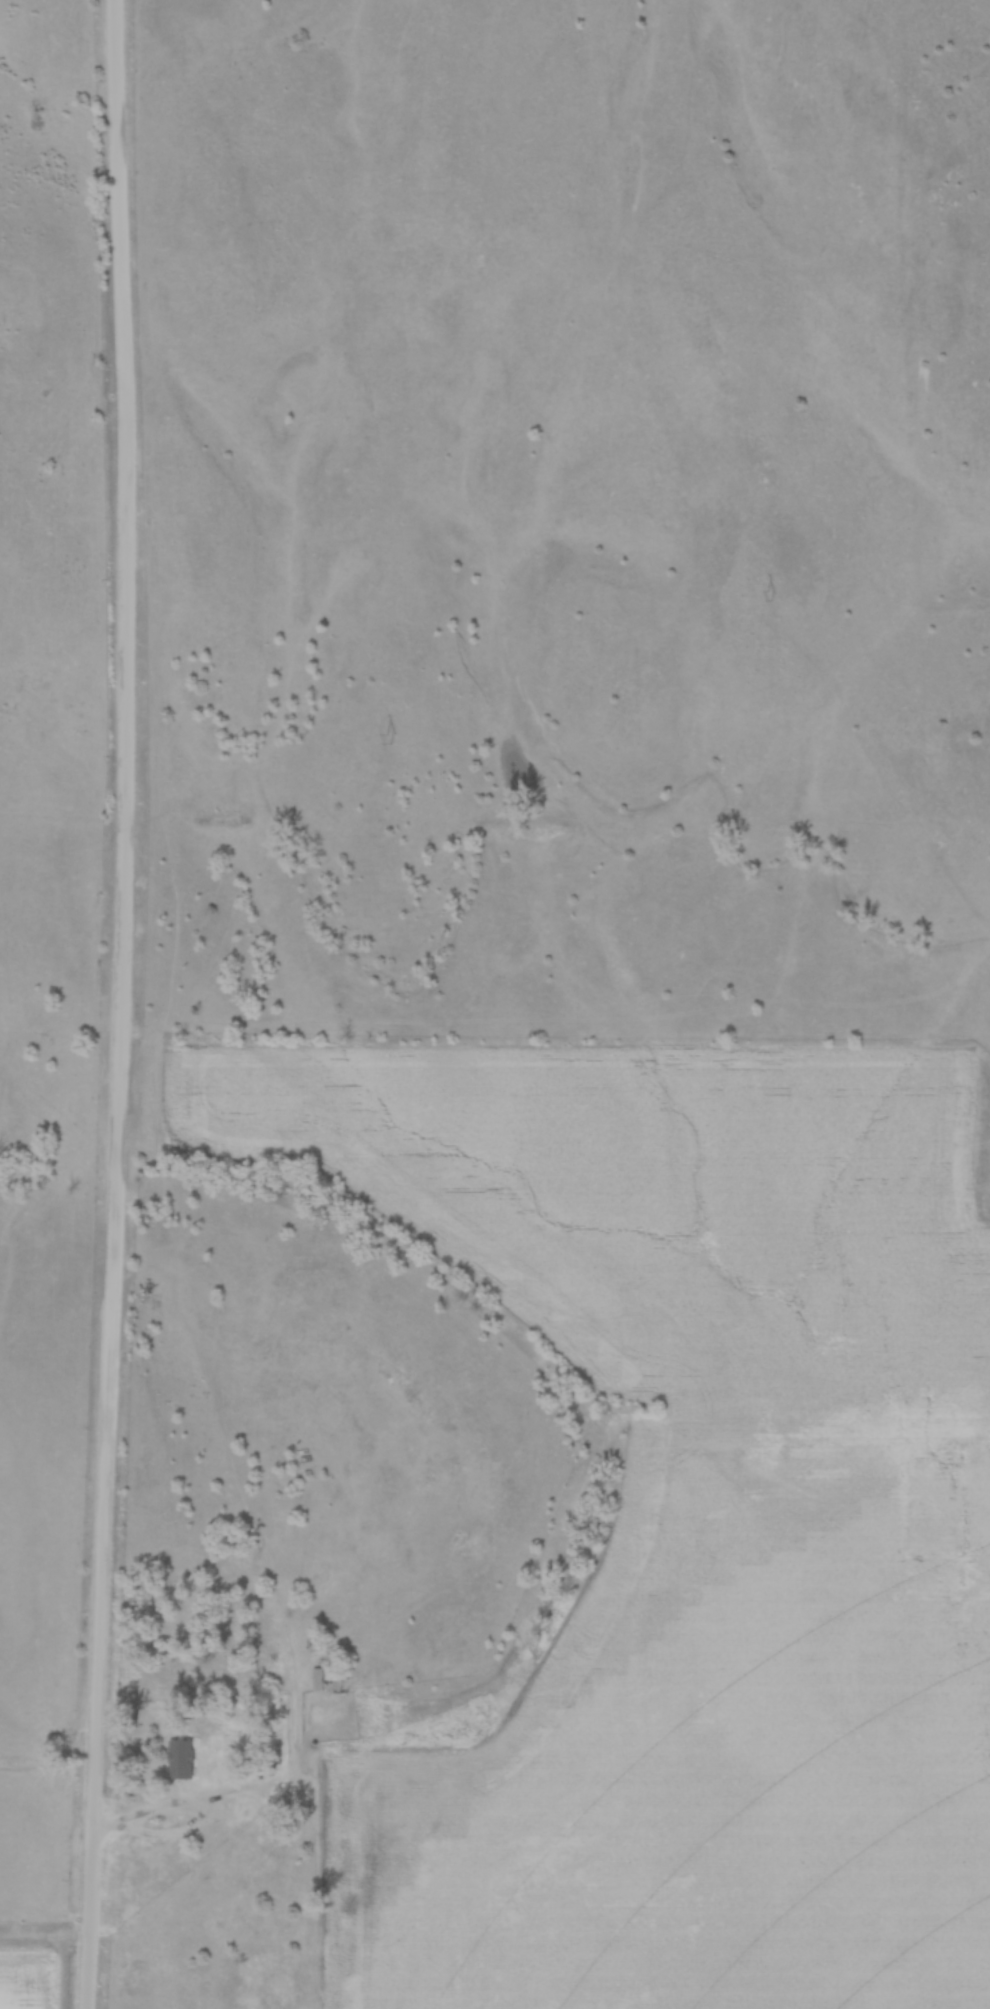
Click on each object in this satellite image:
power tower: (771, 594)
power tower: (390, 737)
road: (119, 1004)
building: (330, 1677)
building: (181, 1758)

